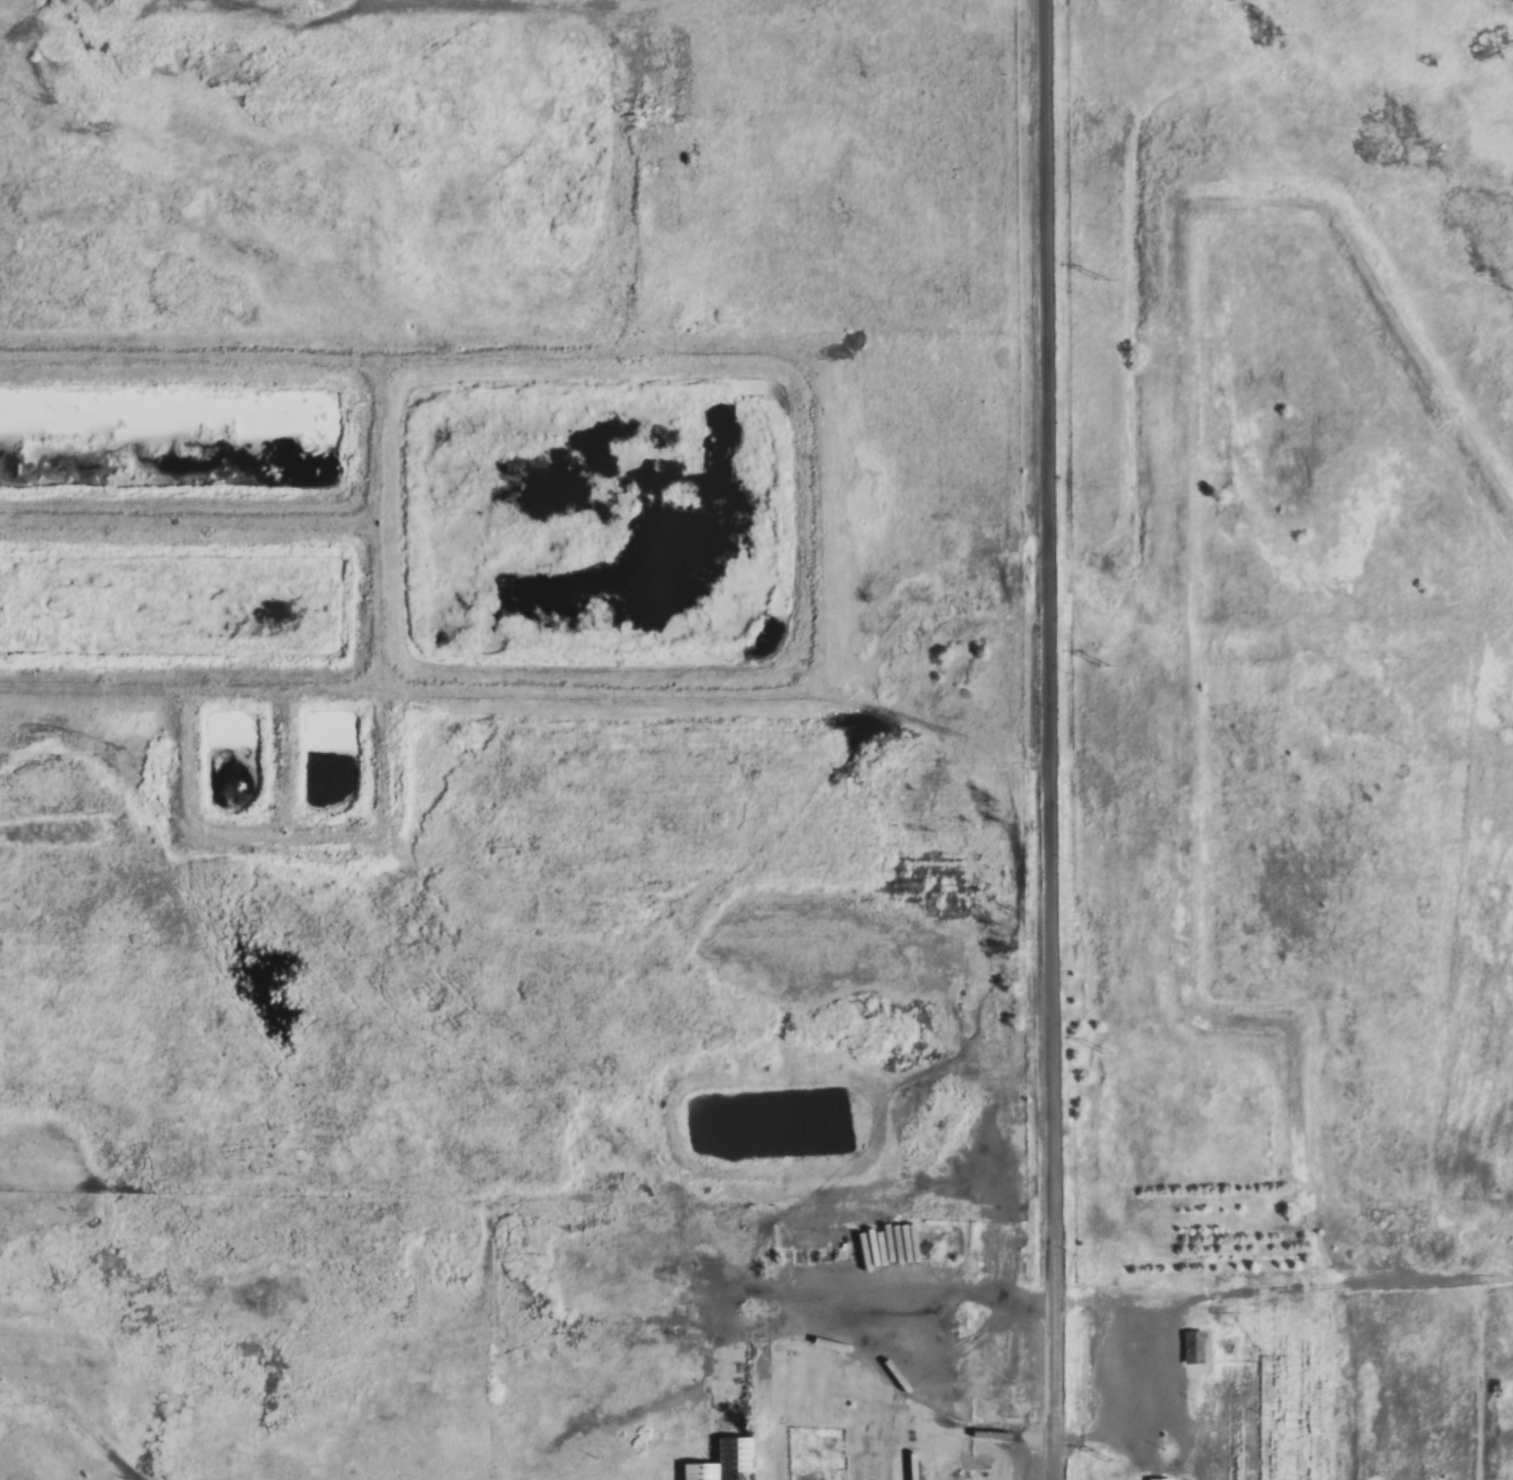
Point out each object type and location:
power tower: (1102, 279)
power tower: (1104, 665)
road: (1049, 740)
power tower: (1105, 1052)
road: (1184, 1305)
road: (886, 1326)
building: (1190, 1347)
road: (1358, 1375)
road: (79, 1416)
road: (624, 1422)
power tower: (1108, 1460)
building: (720, 1462)
building: (976, 1474)
building: (1156, 1479)

